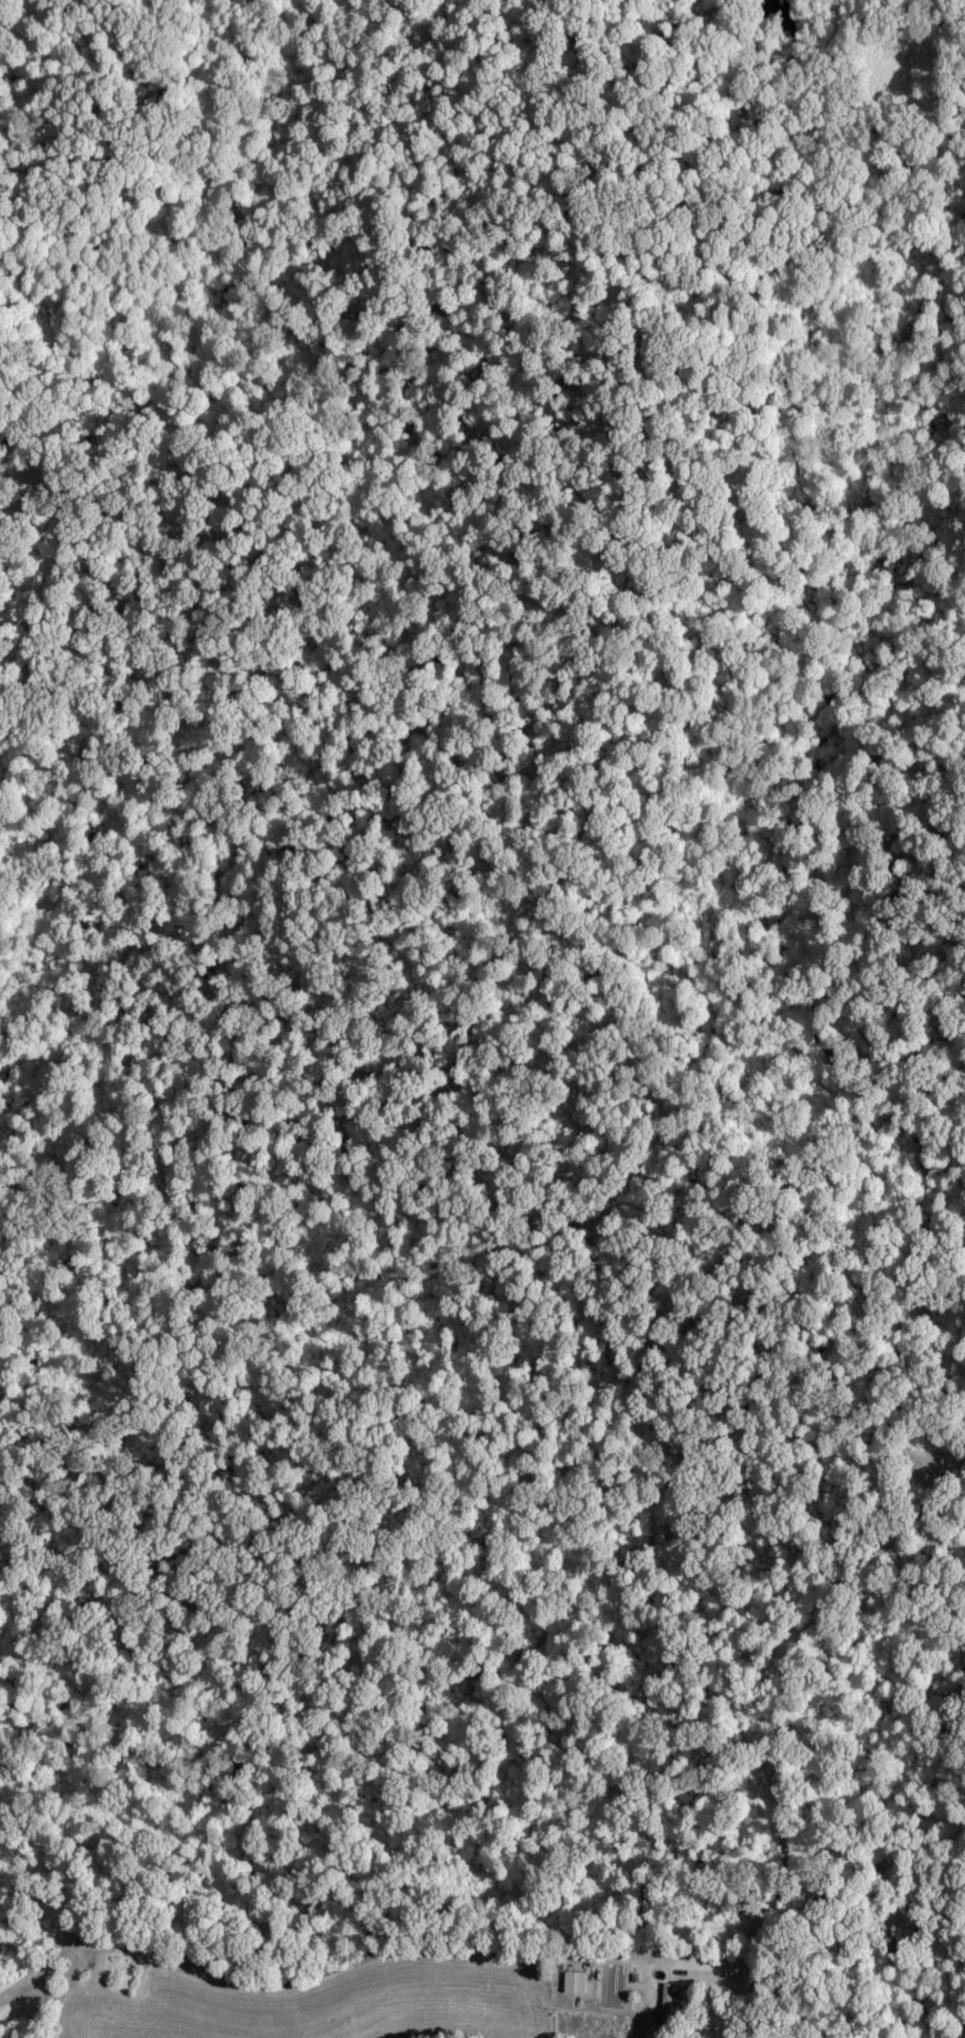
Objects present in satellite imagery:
road: (701, 1954)
building: (575, 1980)
building: (666, 2004)

